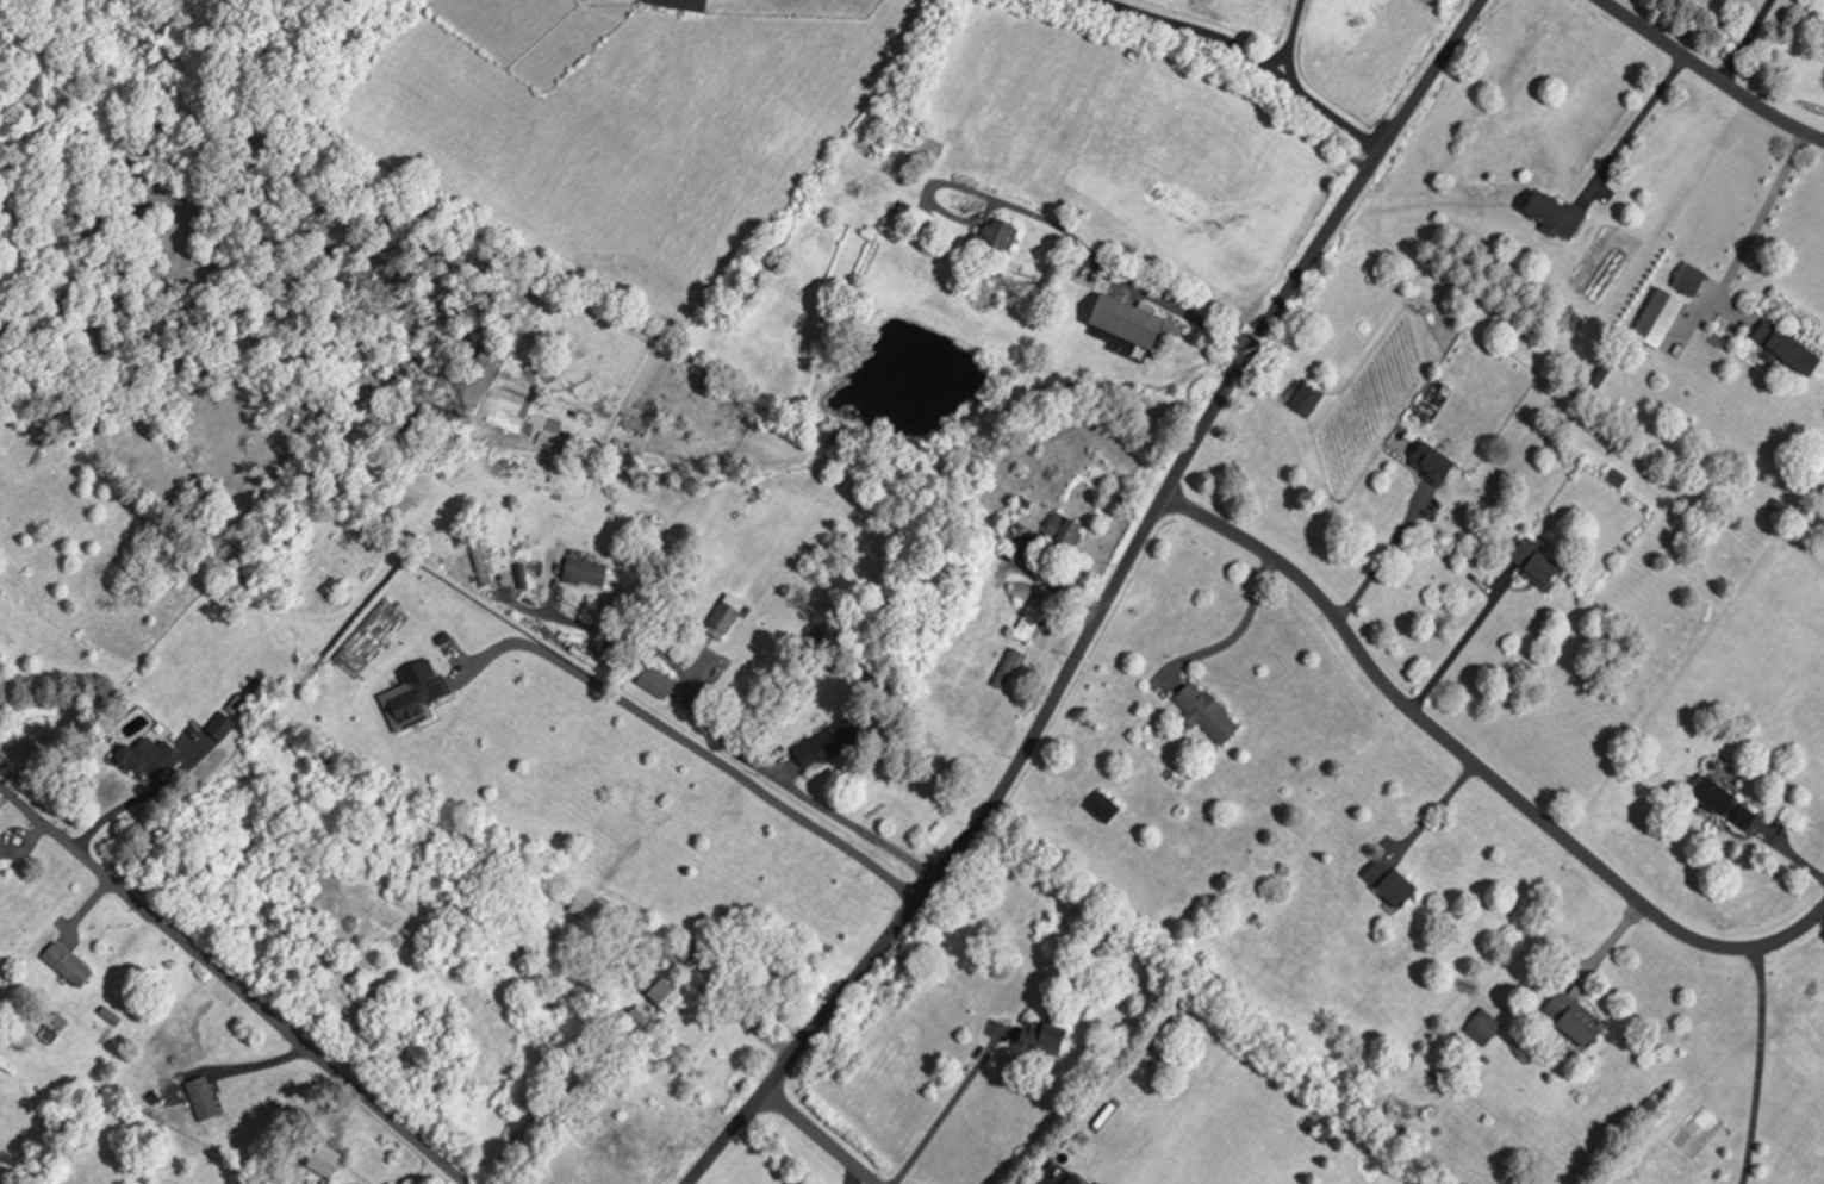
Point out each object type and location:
building: (677, 2)
road: (1289, 39)
road: (1745, 40)
road: (1249, 56)
road: (1707, 73)
road: (1633, 126)
building: (904, 136)
road: (952, 214)
building: (1552, 216)
road: (1758, 218)
building: (994, 243)
road: (1098, 257)
building: (1687, 279)
building: (1654, 314)
building: (1128, 322)
building: (1783, 347)
building: (1303, 399)
building: (1428, 463)
building: (1616, 476)
building: (1022, 503)
building: (1063, 529)
road: (1377, 559)
building: (478, 560)
building: (1534, 565)
building: (583, 573)
road: (1042, 584)
building: (1021, 592)
road: (552, 597)
road: (1102, 607)
building: (724, 617)
building: (1028, 624)
road: (1237, 634)
road: (1462, 640)
building: (349, 659)
building: (1007, 668)
building: (656, 683)
building: (413, 697)
building: (1202, 710)
building: (219, 727)
road: (716, 729)
building: (826, 743)
road: (693, 747)
building: (147, 758)
road: (1476, 767)
road: (143, 802)
building: (1723, 804)
building: (1101, 808)
road: (1431, 812)
road: (20, 834)
road: (1788, 854)
building: (1383, 883)
building: (591, 905)
road: (82, 909)
building: (684, 946)
road: (1605, 947)
building: (66, 965)
road: (232, 985)
building: (312, 987)
building: (661, 991)
building: (639, 1016)
building: (1571, 1018)
building: (49, 1027)
building: (1480, 1027)
building: (1041, 1039)
road: (354, 1051)
road: (1760, 1064)
road: (236, 1070)
building: (201, 1099)
road: (945, 1109)
road: (344, 1117)
road: (816, 1136)
building: (323, 1161)
road: (851, 1177)
building: (1071, 1180)
road: (1046, 1183)

